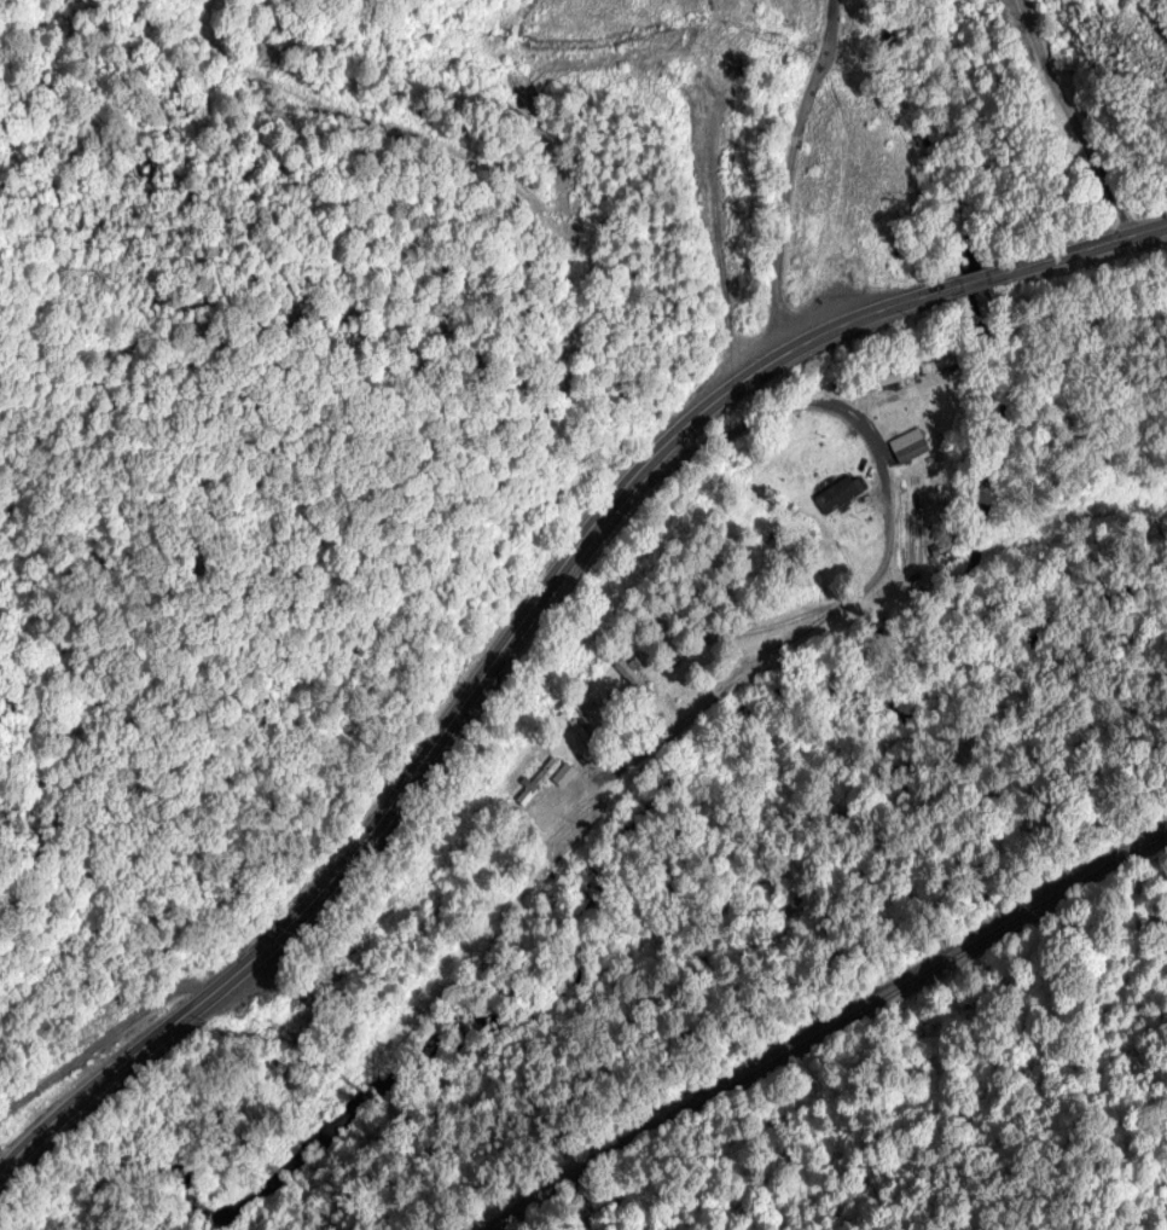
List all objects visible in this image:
road: (1080, 117)
road: (788, 173)
building: (841, 504)
road: (528, 614)
building: (634, 681)
railway: (824, 1017)
road: (101, 1039)

